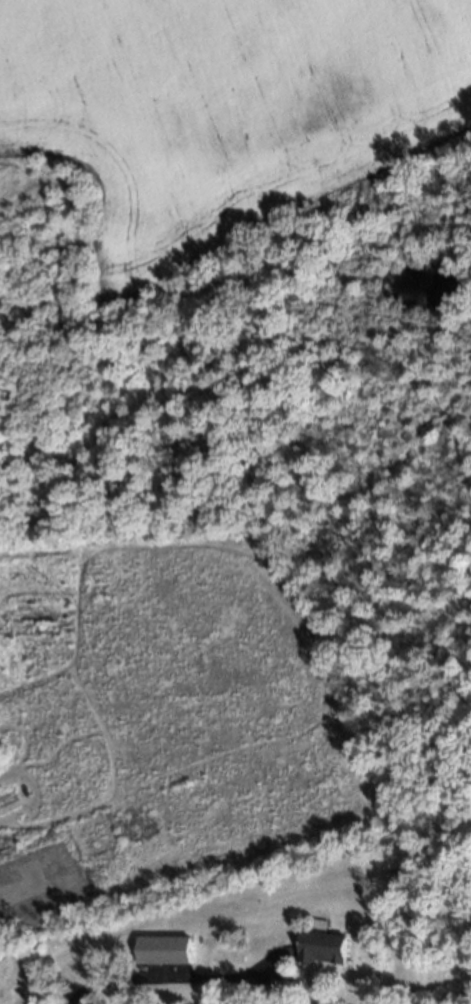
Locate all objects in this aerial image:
crop: (223, 109)
building: (322, 947)
building: (165, 949)
road: (174, 978)

